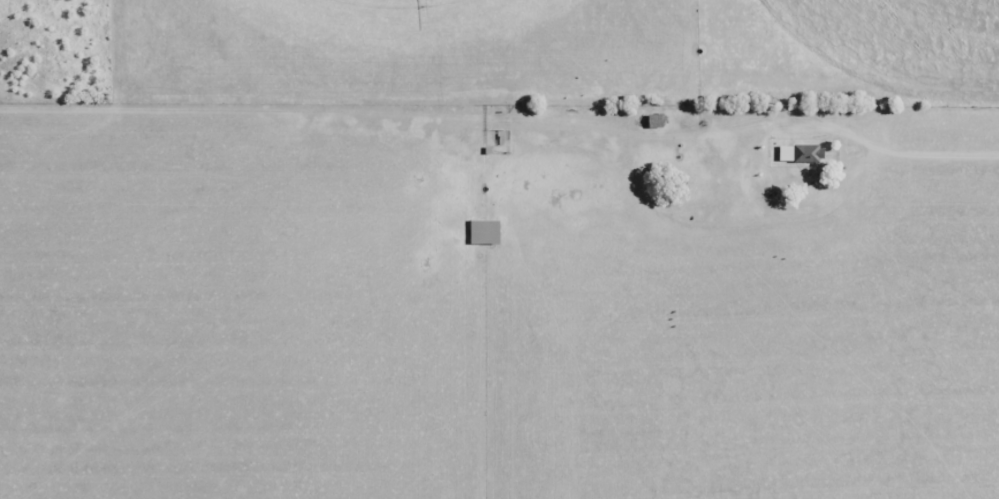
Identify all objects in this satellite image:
building: (807, 153)
road: (927, 154)

